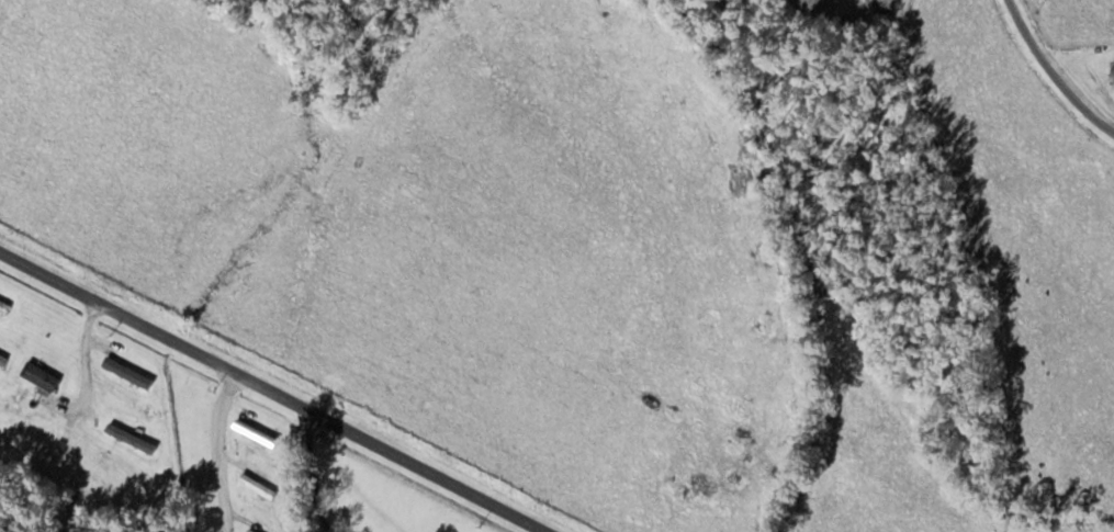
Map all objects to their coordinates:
road: (1053, 72)
building: (4, 306)
building: (3, 358)
road: (289, 383)
building: (132, 437)
building: (270, 494)

